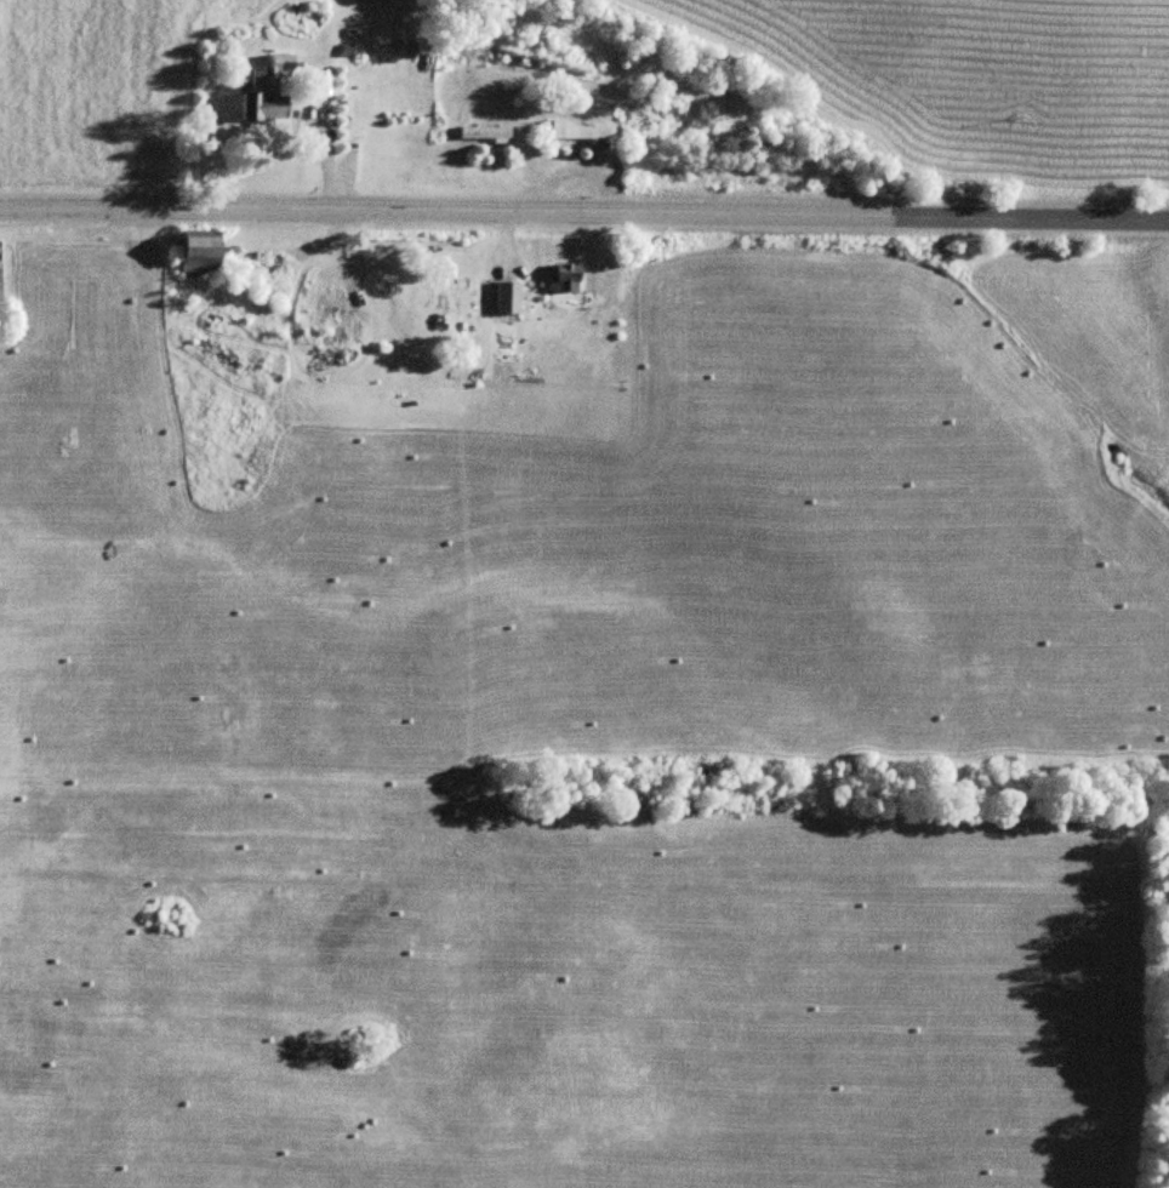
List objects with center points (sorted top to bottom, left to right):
building: (269, 91)
building: (576, 130)
building: (481, 132)
road: (584, 210)
building: (198, 252)
building: (564, 275)
building: (506, 296)

